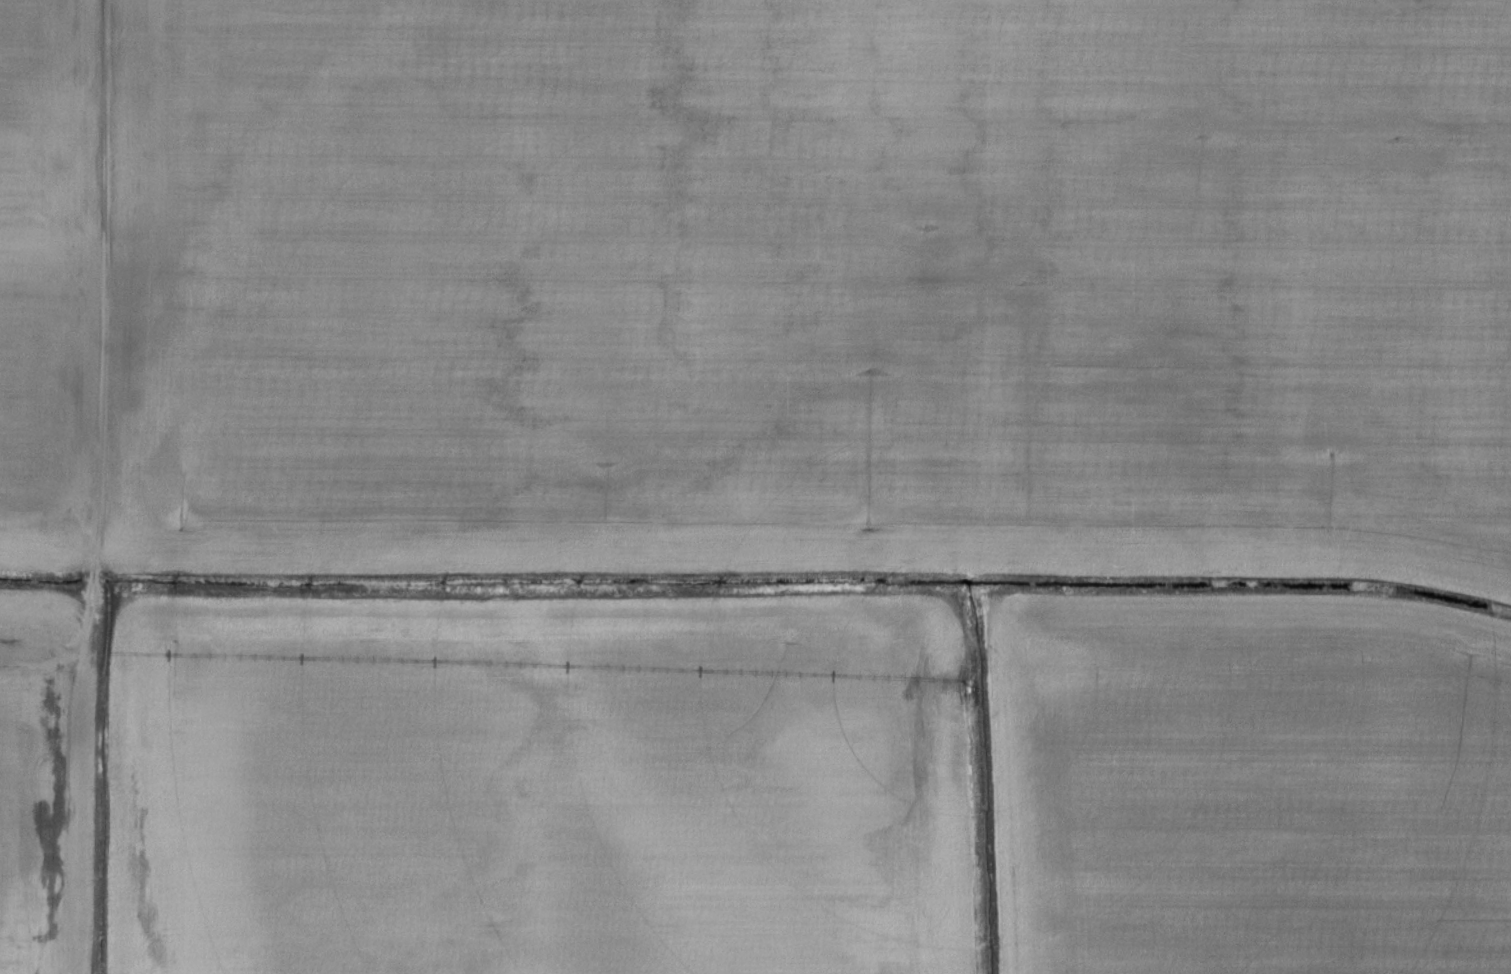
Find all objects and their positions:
road: (104, 339)
road: (29, 664)

